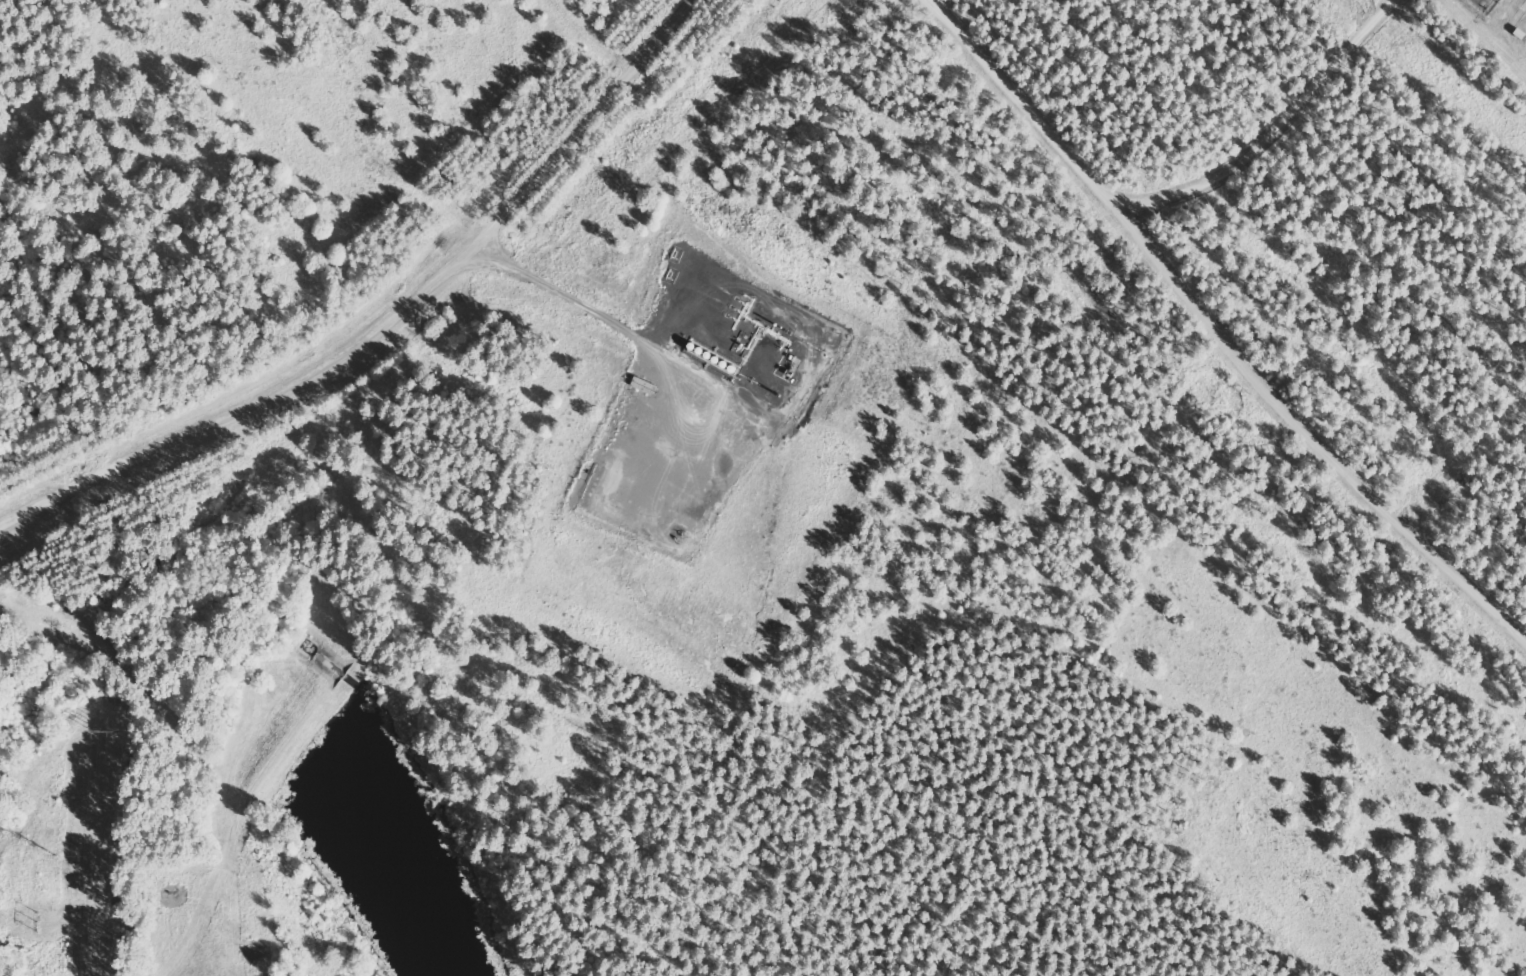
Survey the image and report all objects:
road: (519, 196)
road: (1197, 309)
building: (751, 351)
road: (250, 404)
power tower: (56, 855)

